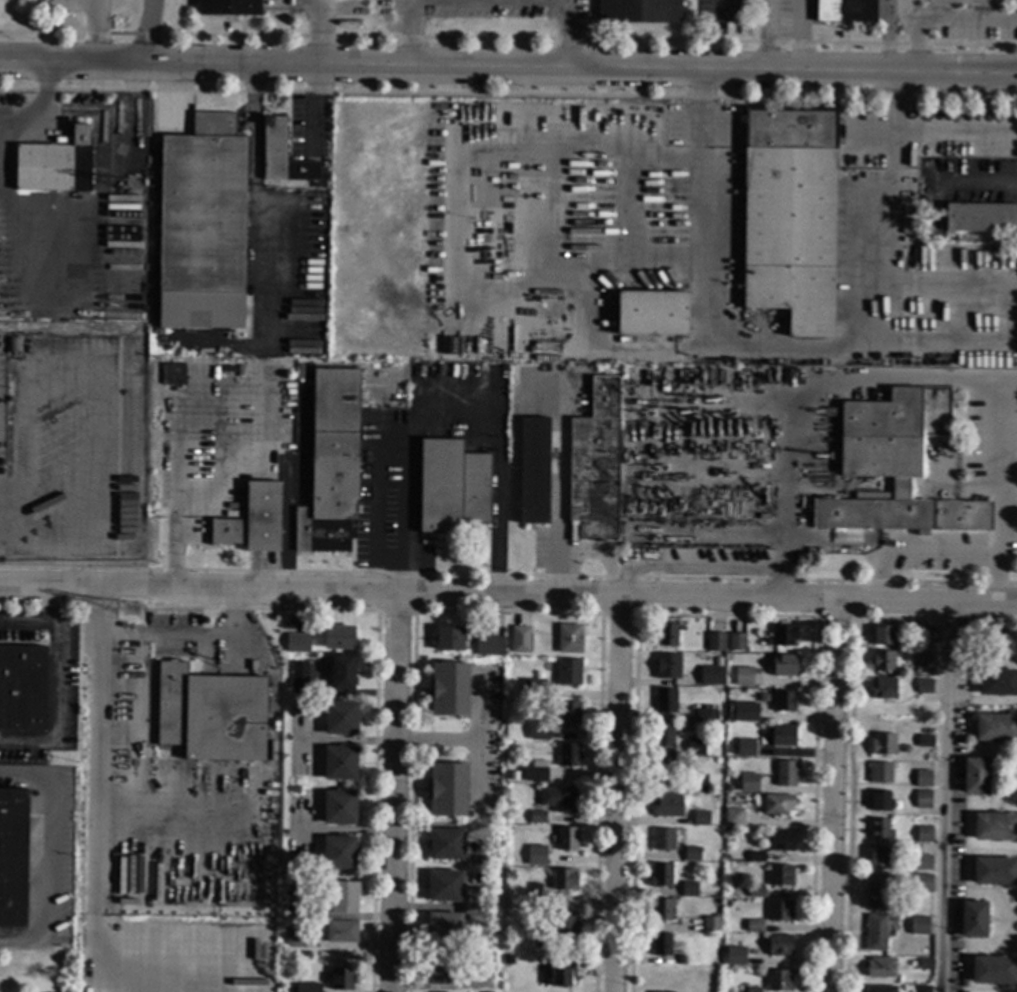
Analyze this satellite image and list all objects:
road: (491, 4)
building: (229, 7)
building: (639, 11)
building: (846, 11)
road: (95, 31)
road: (149, 32)
road: (315, 32)
road: (766, 35)
road: (800, 35)
road: (914, 35)
road: (885, 36)
road: (508, 68)
building: (274, 149)
road: (0, 156)
building: (55, 165)
power tower: (134, 187)
building: (790, 216)
building: (982, 219)
building: (202, 226)
building: (651, 313)
building: (13, 345)
building: (173, 374)
road: (819, 388)
road: (458, 417)
road: (1008, 453)
building: (331, 464)
building: (594, 465)
building: (895, 466)
building: (534, 471)
building: (451, 487)
building: (252, 520)
road: (558, 522)
road: (997, 540)
road: (690, 568)
road: (778, 575)
road: (996, 579)
road: (508, 598)
power tower: (132, 610)
road: (42, 626)
building: (927, 634)
building: (667, 635)
building: (784, 635)
building: (883, 635)
building: (339, 638)
building: (449, 639)
building: (569, 639)
building: (963, 639)
building: (520, 640)
building: (715, 642)
building: (736, 642)
road: (182, 643)
building: (297, 643)
building: (1004, 645)
building: (491, 654)
building: (924, 659)
building: (883, 661)
building: (297, 662)
building: (783, 666)
building: (667, 667)
building: (569, 672)
building: (342, 673)
building: (712, 676)
building: (752, 678)
building: (998, 682)
building: (922, 686)
building: (22, 688)
building: (883, 689)
building: (293, 690)
building: (449, 690)
building: (539, 691)
building: (665, 701)
building: (784, 701)
road: (63, 708)
building: (920, 708)
building: (744, 712)
building: (569, 713)
building: (210, 715)
building: (704, 715)
building: (340, 719)
building: (995, 728)
building: (542, 732)
building: (663, 735)
building: (781, 735)
road: (482, 738)
road: (435, 740)
building: (925, 741)
building: (883, 744)
road: (99, 745)
building: (693, 747)
building: (746, 748)
building: (906, 749)
building: (568, 755)
building: (340, 763)
building: (663, 770)
building: (717, 770)
building: (535, 772)
building: (880, 773)
building: (785, 775)
building: (976, 776)
building: (514, 778)
building: (923, 779)
building: (695, 783)
building: (756, 783)
building: (296, 789)
building: (447, 790)
road: (388, 794)
road: (617, 795)
road: (838, 796)
road: (946, 797)
building: (560, 798)
building: (923, 800)
building: (878, 801)
building: (777, 804)
building: (668, 806)
building: (339, 808)
building: (537, 817)
building: (701, 818)
building: (730, 820)
building: (995, 827)
building: (879, 829)
building: (924, 835)
building: (566, 839)
building: (662, 840)
building: (781, 840)
building: (446, 845)
building: (338, 853)
building: (692, 854)
building: (13, 857)
building: (757, 857)
building: (878, 857)
building: (534, 858)
road: (44, 859)
building: (923, 862)
building: (995, 871)
building: (660, 875)
building: (781, 876)
building: (564, 879)
building: (923, 884)
building: (445, 887)
building: (688, 889)
building: (877, 891)
building: (756, 892)
building: (536, 895)
building: (344, 899)
building: (660, 910)
building: (780, 911)
building: (716, 916)
building: (974, 919)
building: (565, 923)
building: (711, 925)
building: (751, 926)
building: (919, 926)
building: (444, 928)
building: (341, 932)
building: (876, 933)
building: (280, 934)
building: (296, 937)
building: (541, 941)
building: (661, 945)
building: (779, 945)
building: (504, 958)
building: (731, 959)
building: (483, 961)
building: (926, 965)
building: (439, 968)
building: (881, 968)
building: (993, 970)
building: (562, 973)
building: (342, 979)
building: (779, 981)
building: (963, 984)
building: (922, 988)
building: (880, 989)
building: (314, 990)
building: (752, 990)

